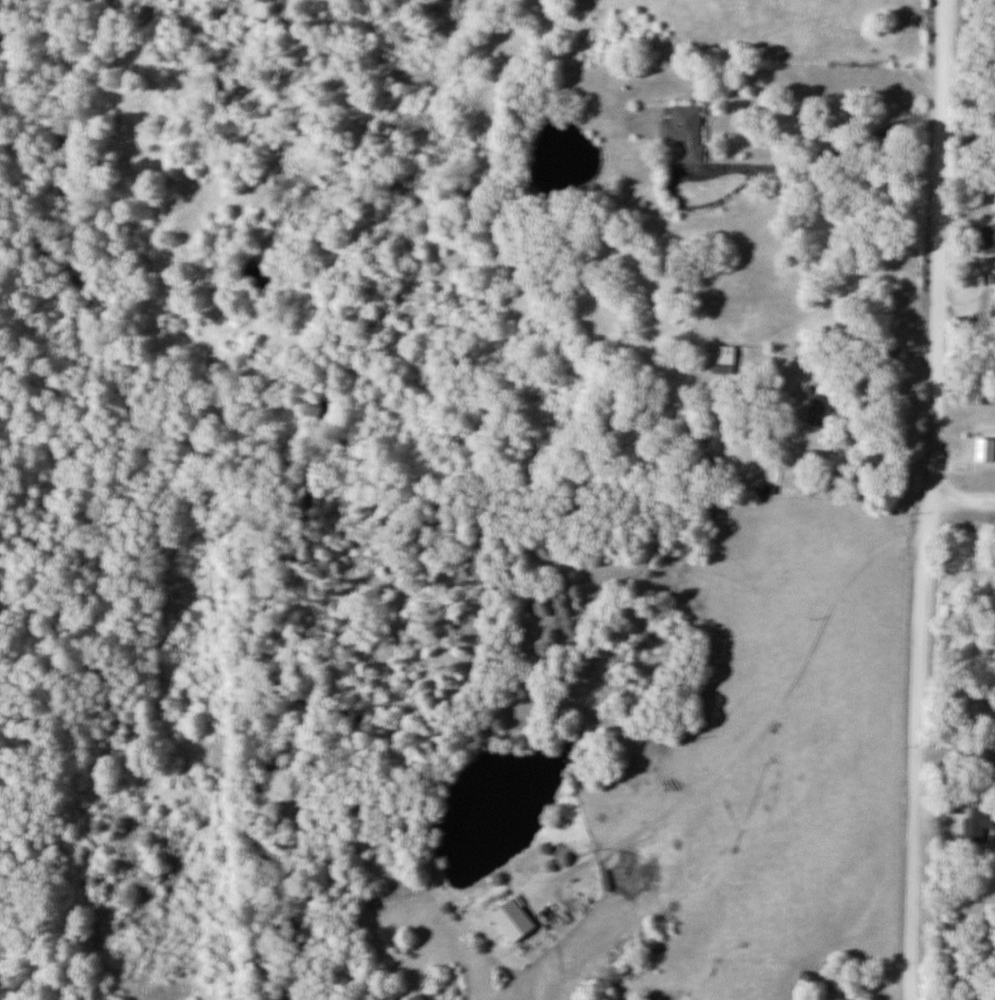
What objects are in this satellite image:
building: (688, 130)
building: (990, 236)
building: (727, 354)
building: (821, 409)
building: (987, 450)
road: (927, 499)
road: (961, 500)
road: (761, 723)
building: (979, 825)

